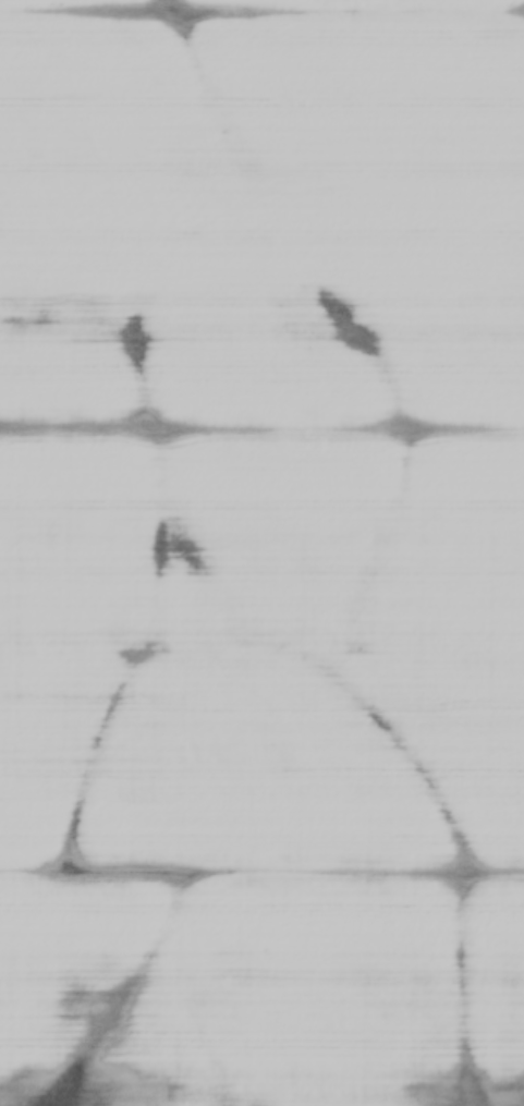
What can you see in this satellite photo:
crop: (261, 100)

